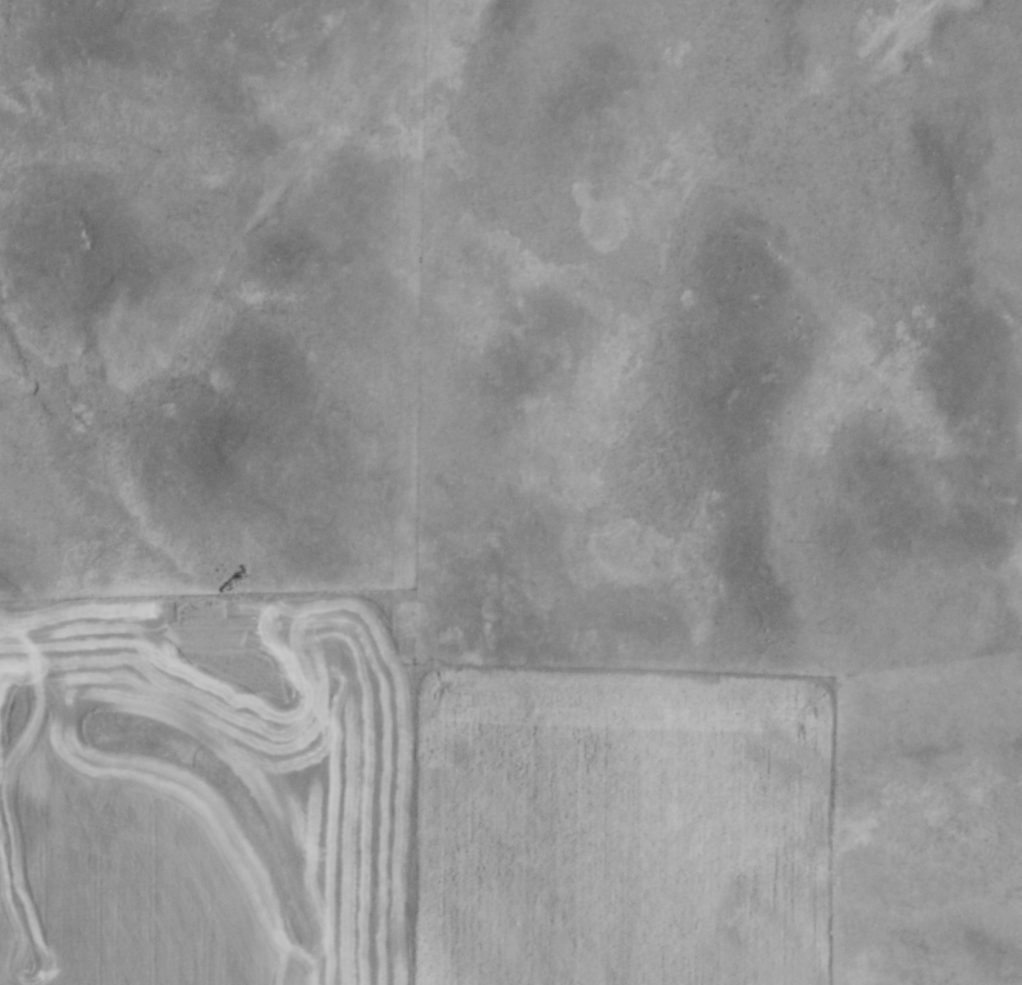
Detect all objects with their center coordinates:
crop: (394, 806)

